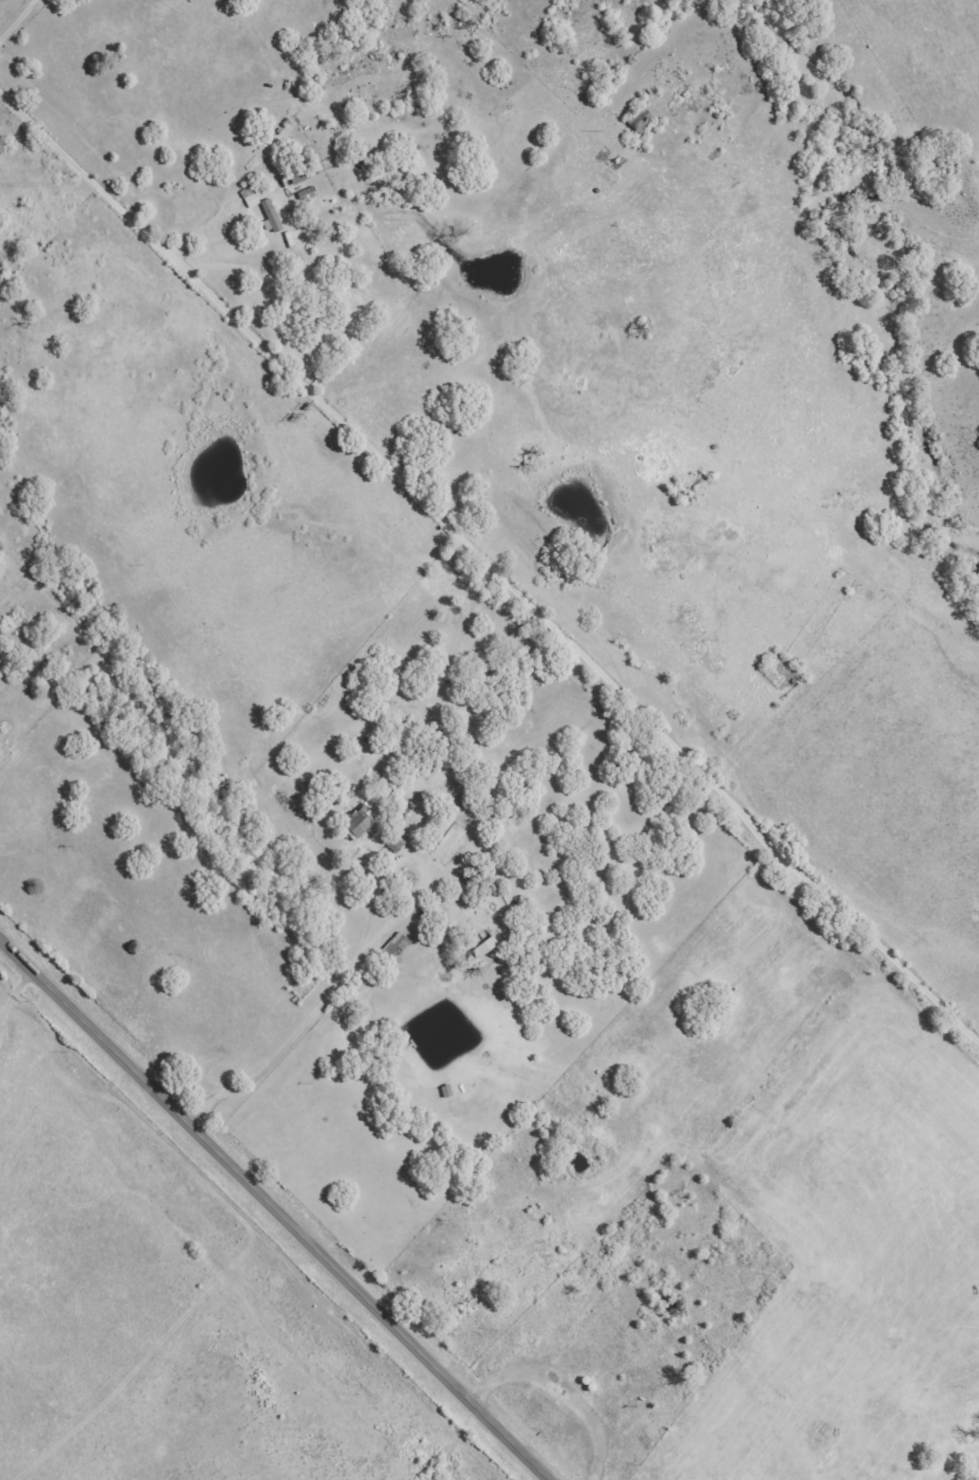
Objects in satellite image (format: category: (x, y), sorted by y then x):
road: (18, 21)
building: (302, 173)
building: (248, 196)
building: (269, 216)
road: (490, 568)
building: (359, 823)
building: (395, 842)
building: (394, 945)
building: (483, 946)
road: (274, 1211)
road: (501, 1459)

